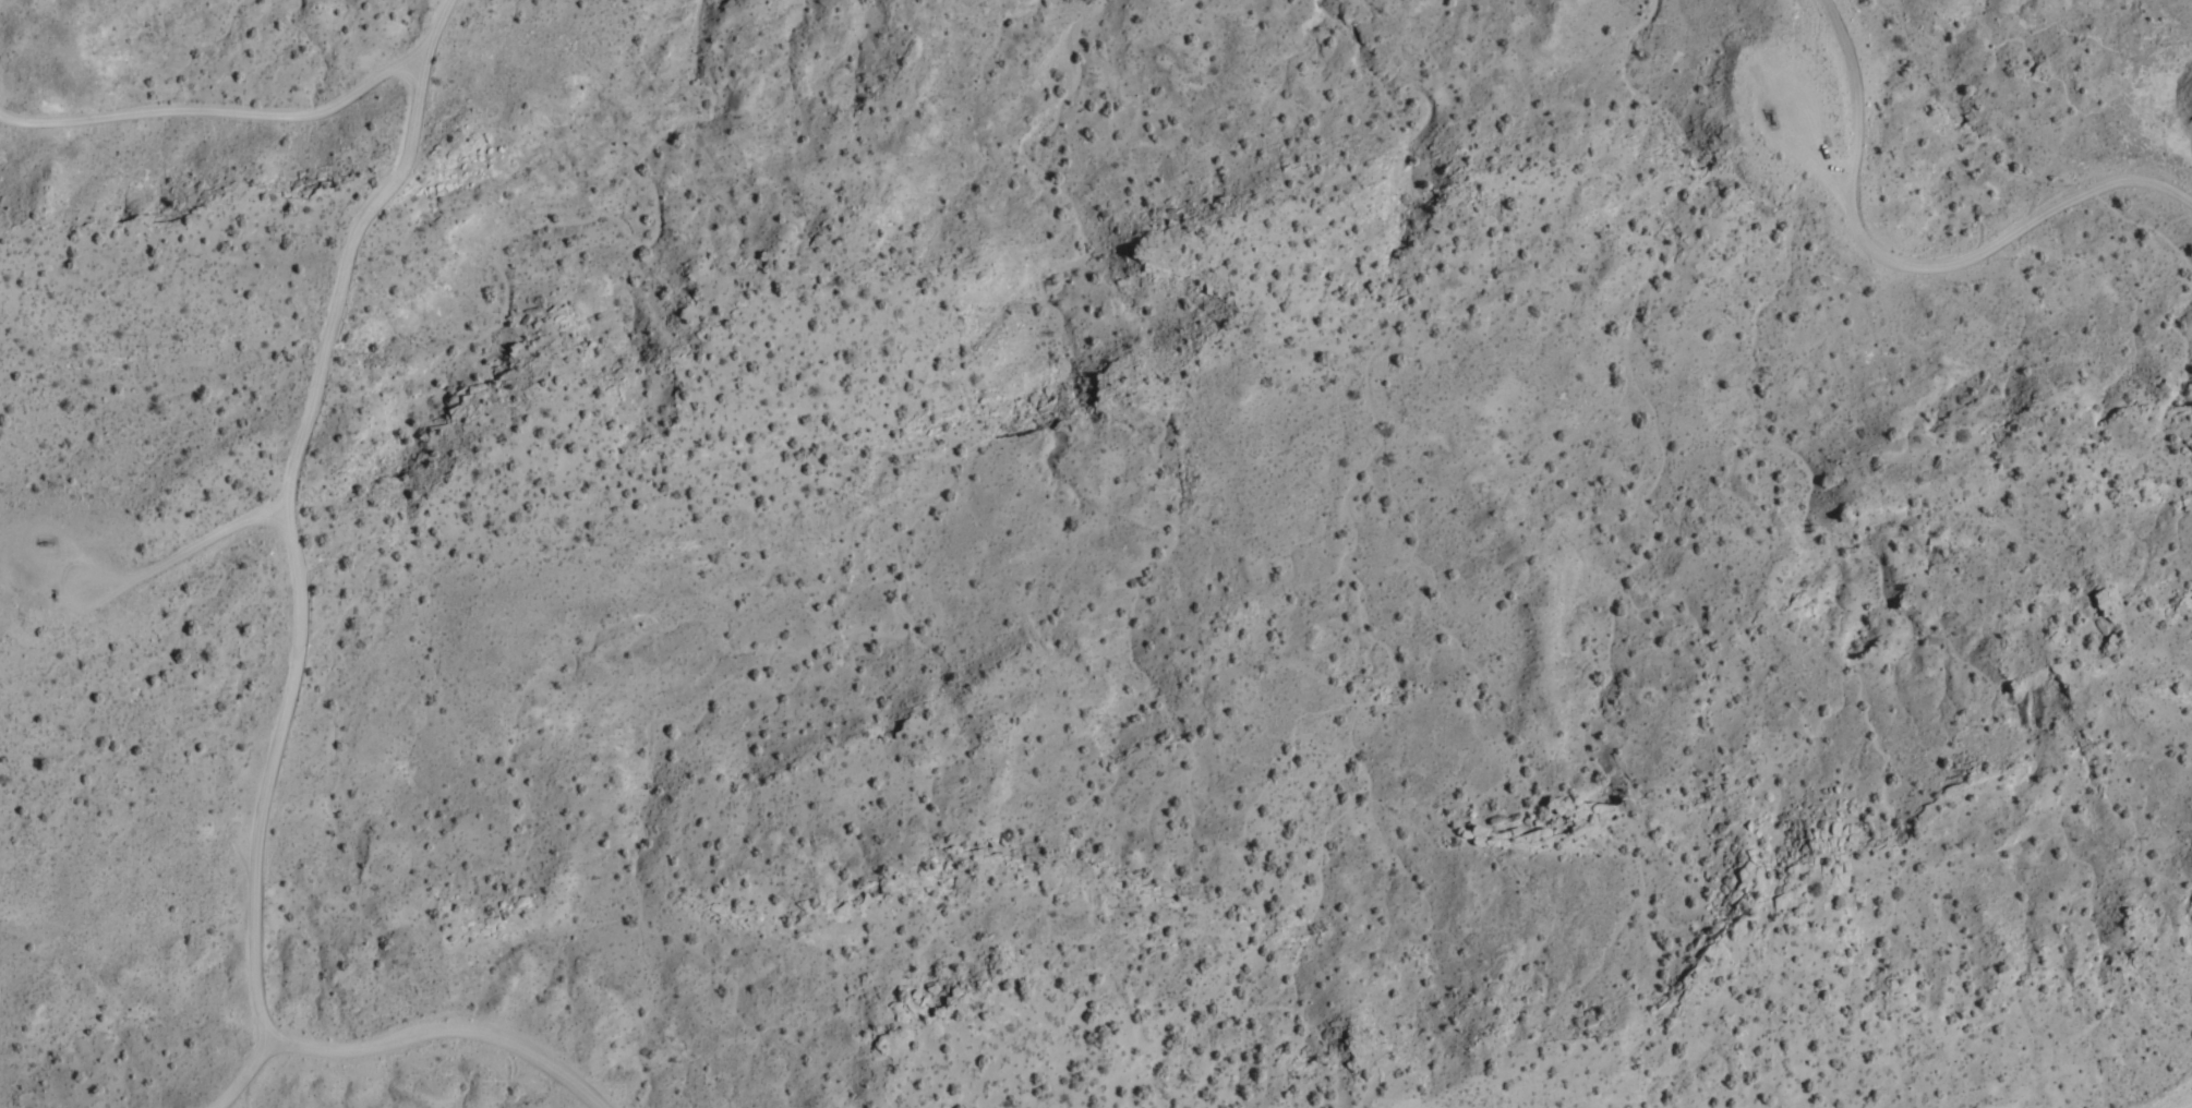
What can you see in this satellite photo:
road: (217, 99)
road: (297, 550)
road: (79, 580)
road: (454, 1021)
road: (2187, 1105)

